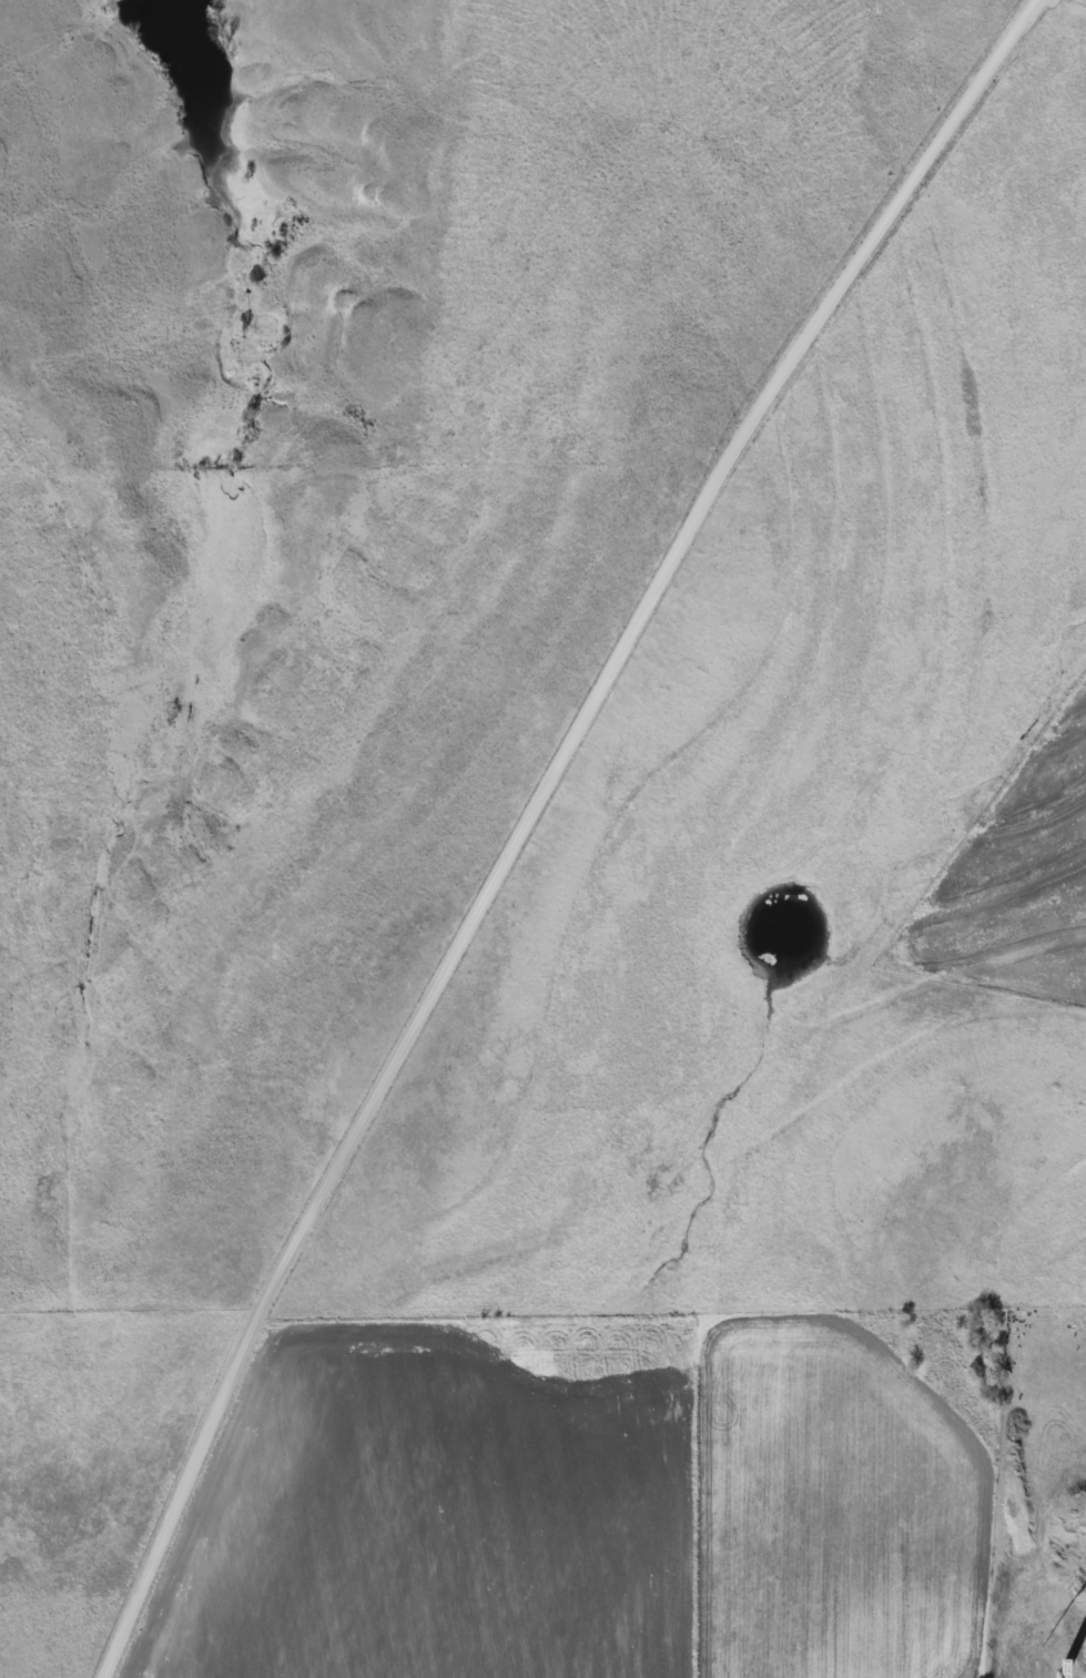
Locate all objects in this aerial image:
road: (1067, 11)
road: (531, 815)
wind turbine: (1068, 1660)

